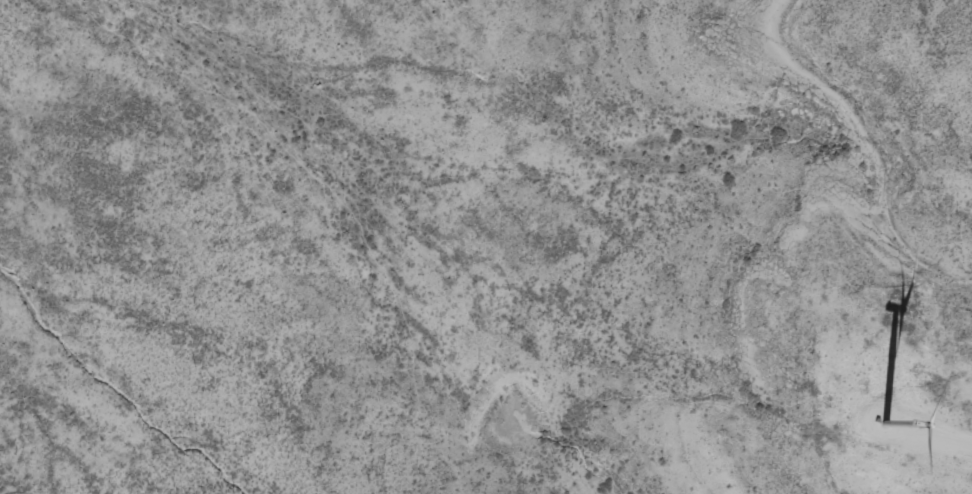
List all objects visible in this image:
wind turbine: (871, 419)

